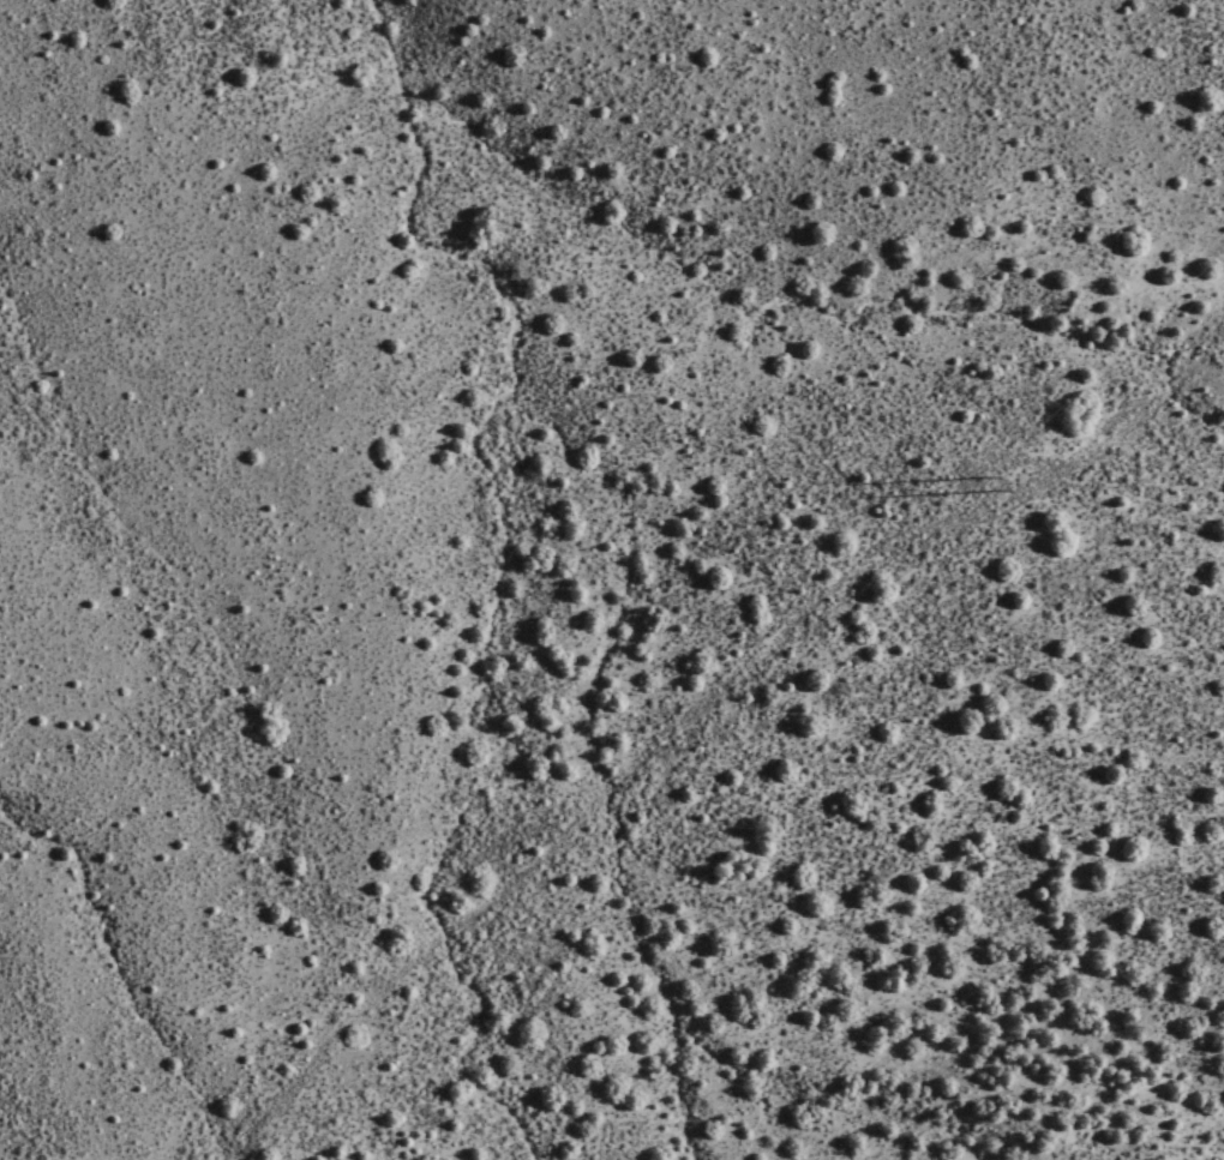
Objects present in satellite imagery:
power tower: (988, 487)

